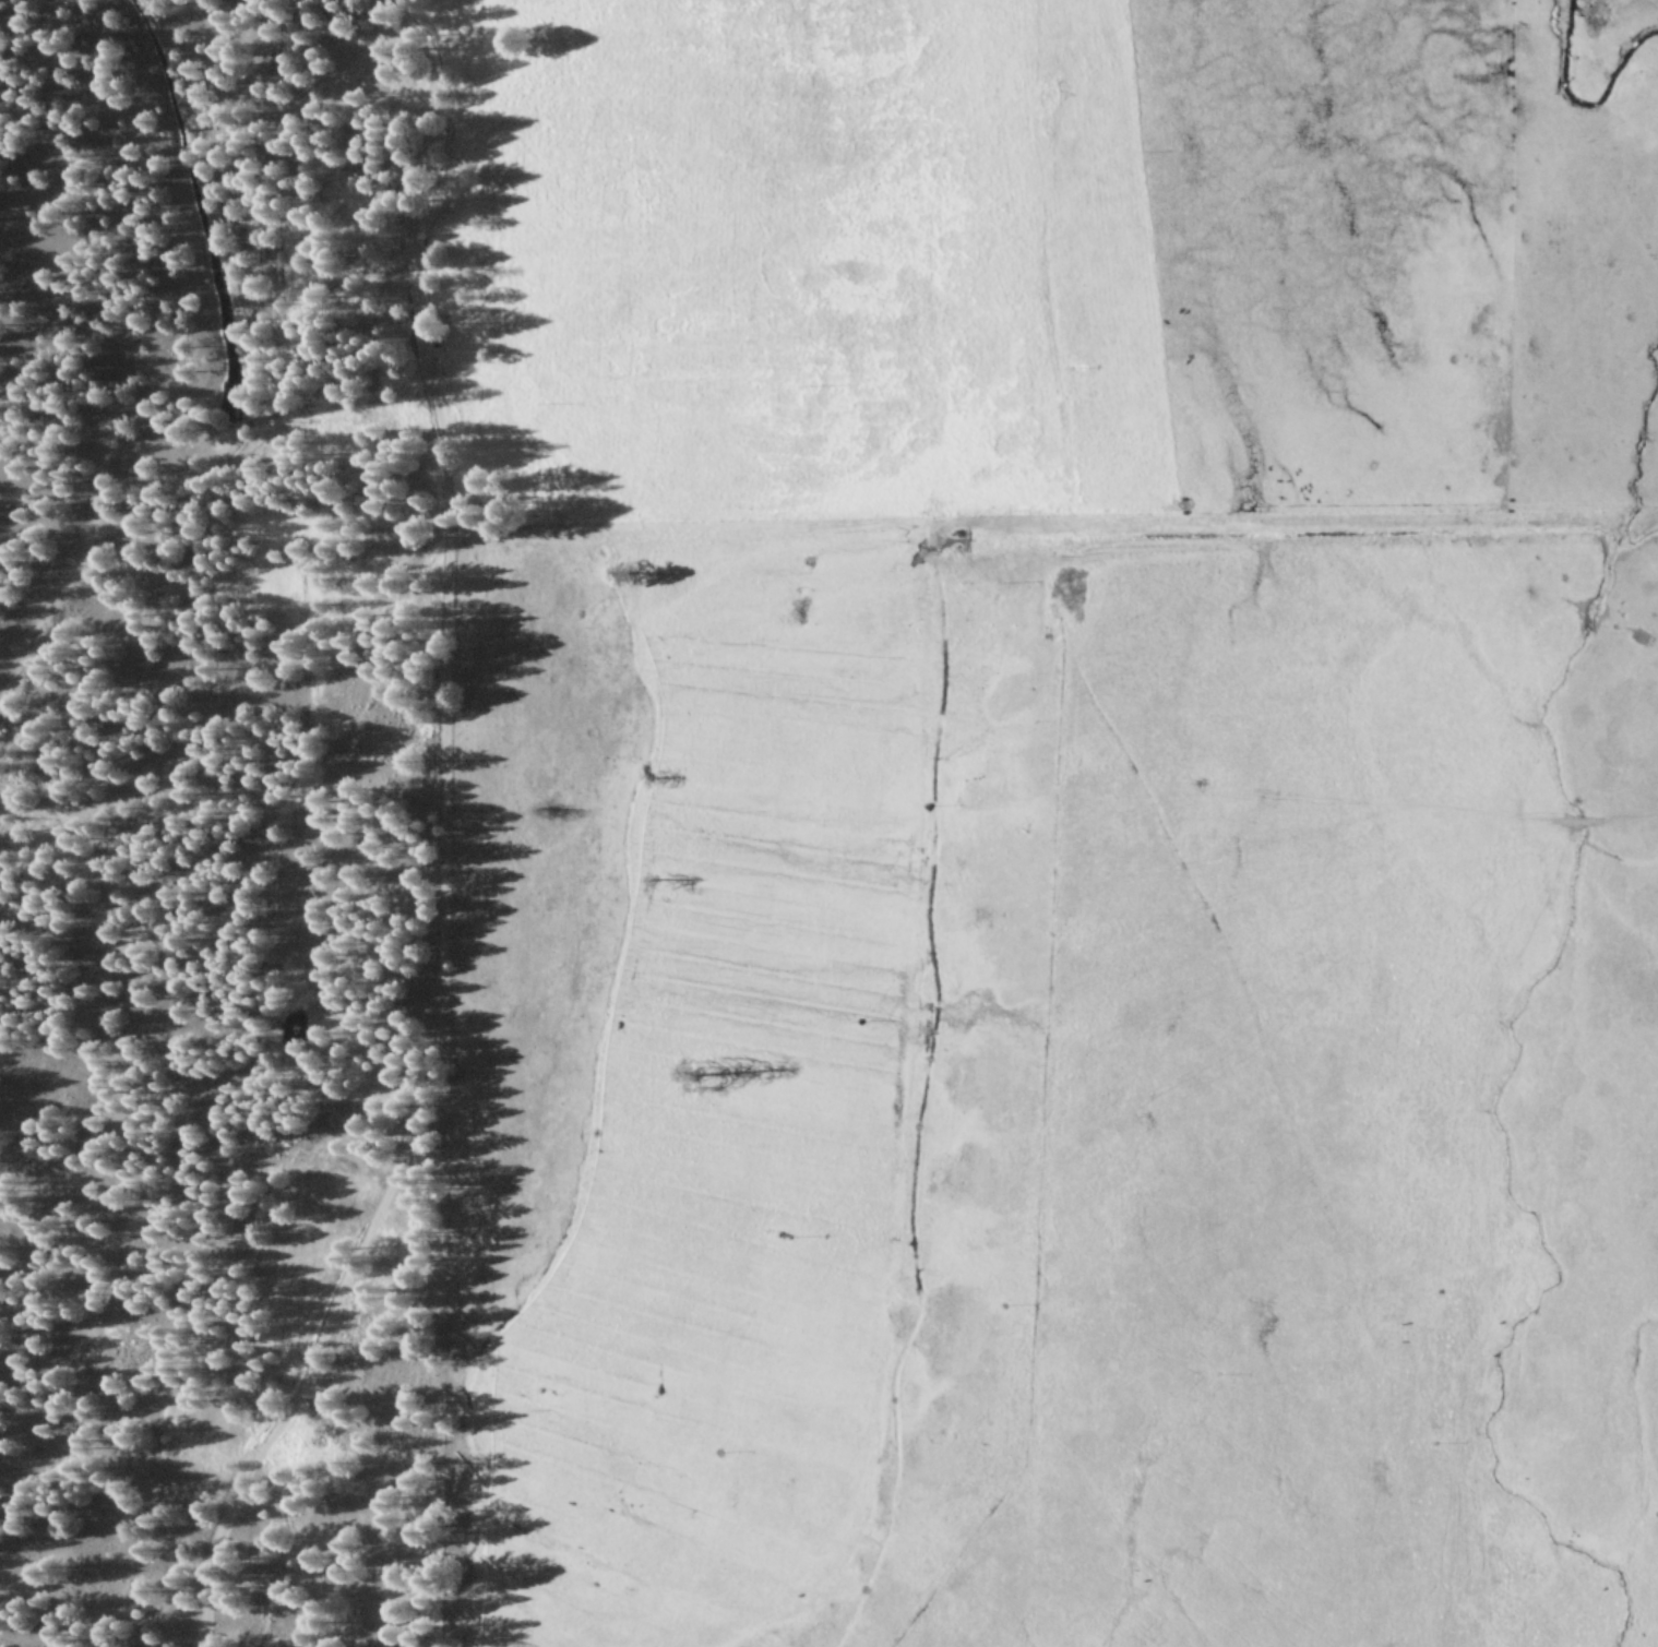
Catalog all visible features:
road: (441, 846)
park: (5, 1646)

